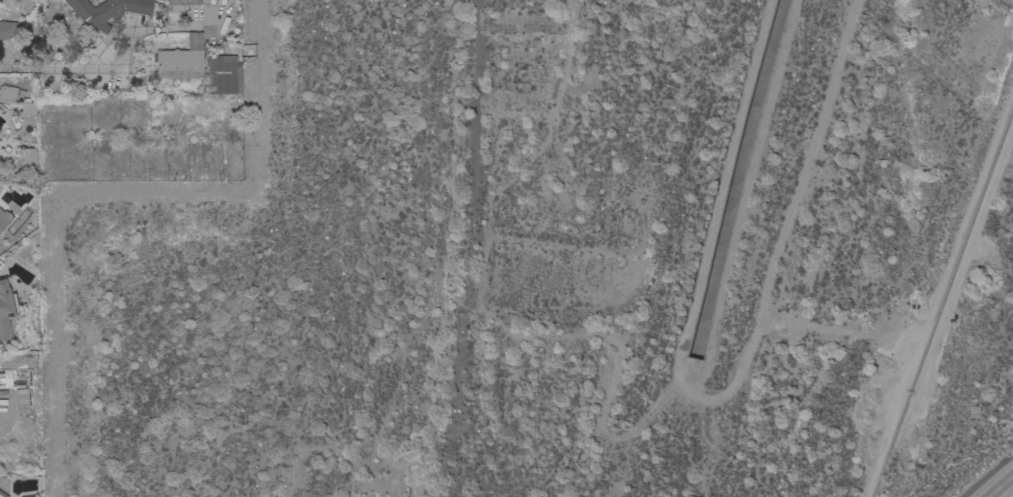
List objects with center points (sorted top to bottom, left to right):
building: (183, 4)
building: (107, 11)
road: (208, 23)
building: (7, 31)
building: (181, 60)
road: (51, 69)
building: (222, 75)
building: (7, 94)
building: (28, 107)
building: (29, 155)
building: (4, 219)
building: (6, 310)
quarry: (961, 326)
building: (15, 378)
road: (1004, 490)
building: (2, 495)

